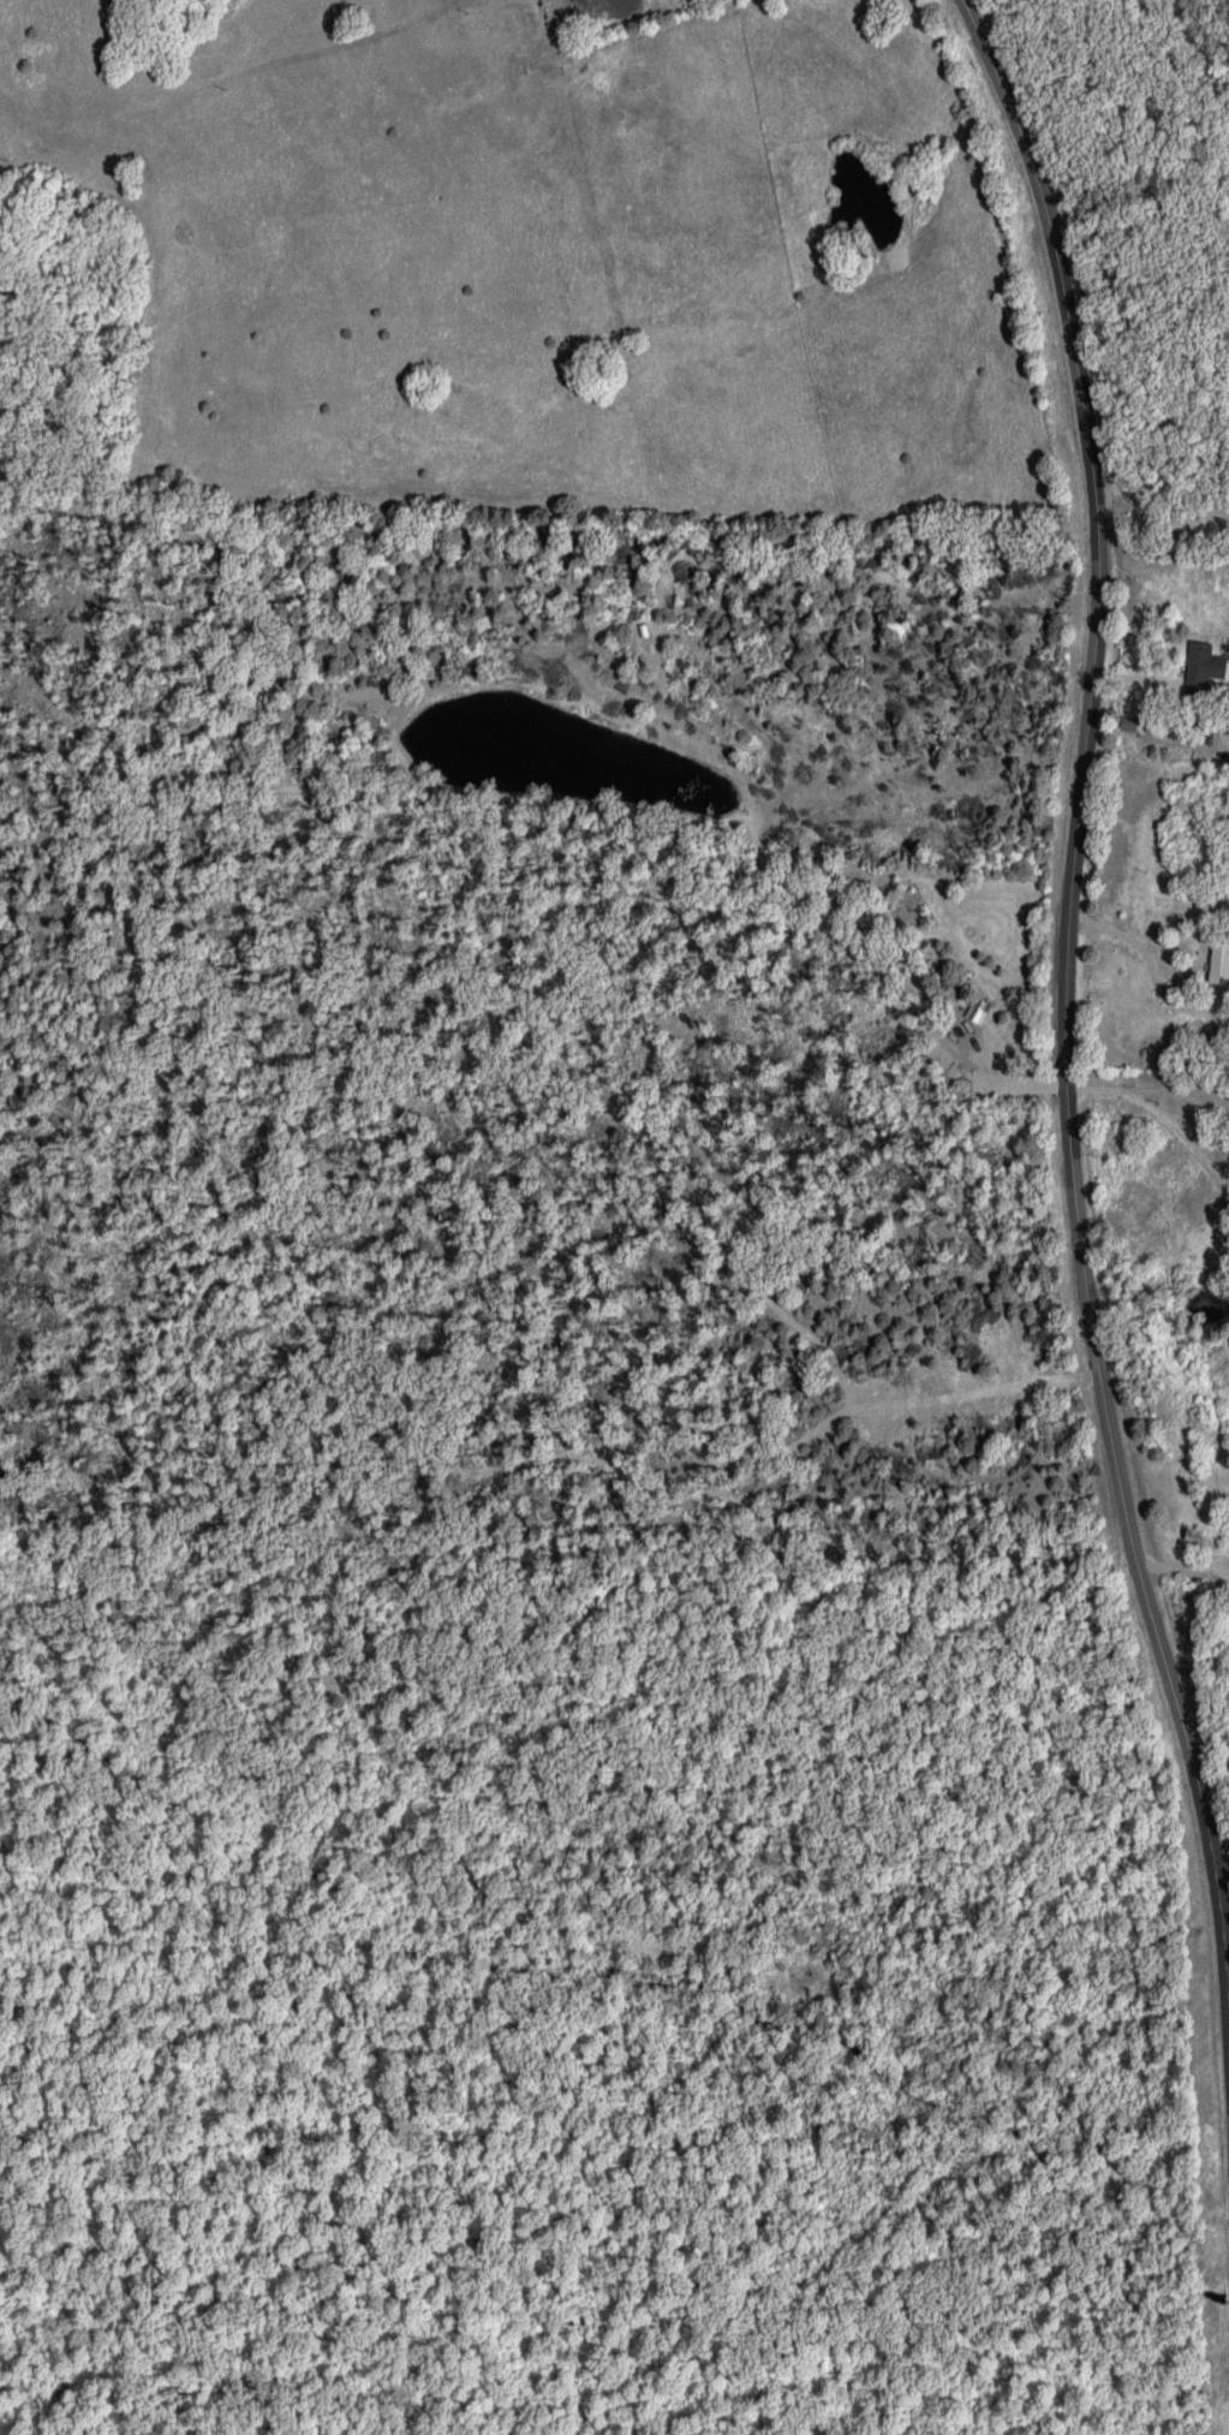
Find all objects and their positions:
road: (1163, 523)
building: (1207, 667)
building: (1224, 960)
road: (1063, 1018)
road: (1181, 1572)
road: (614, 2064)

